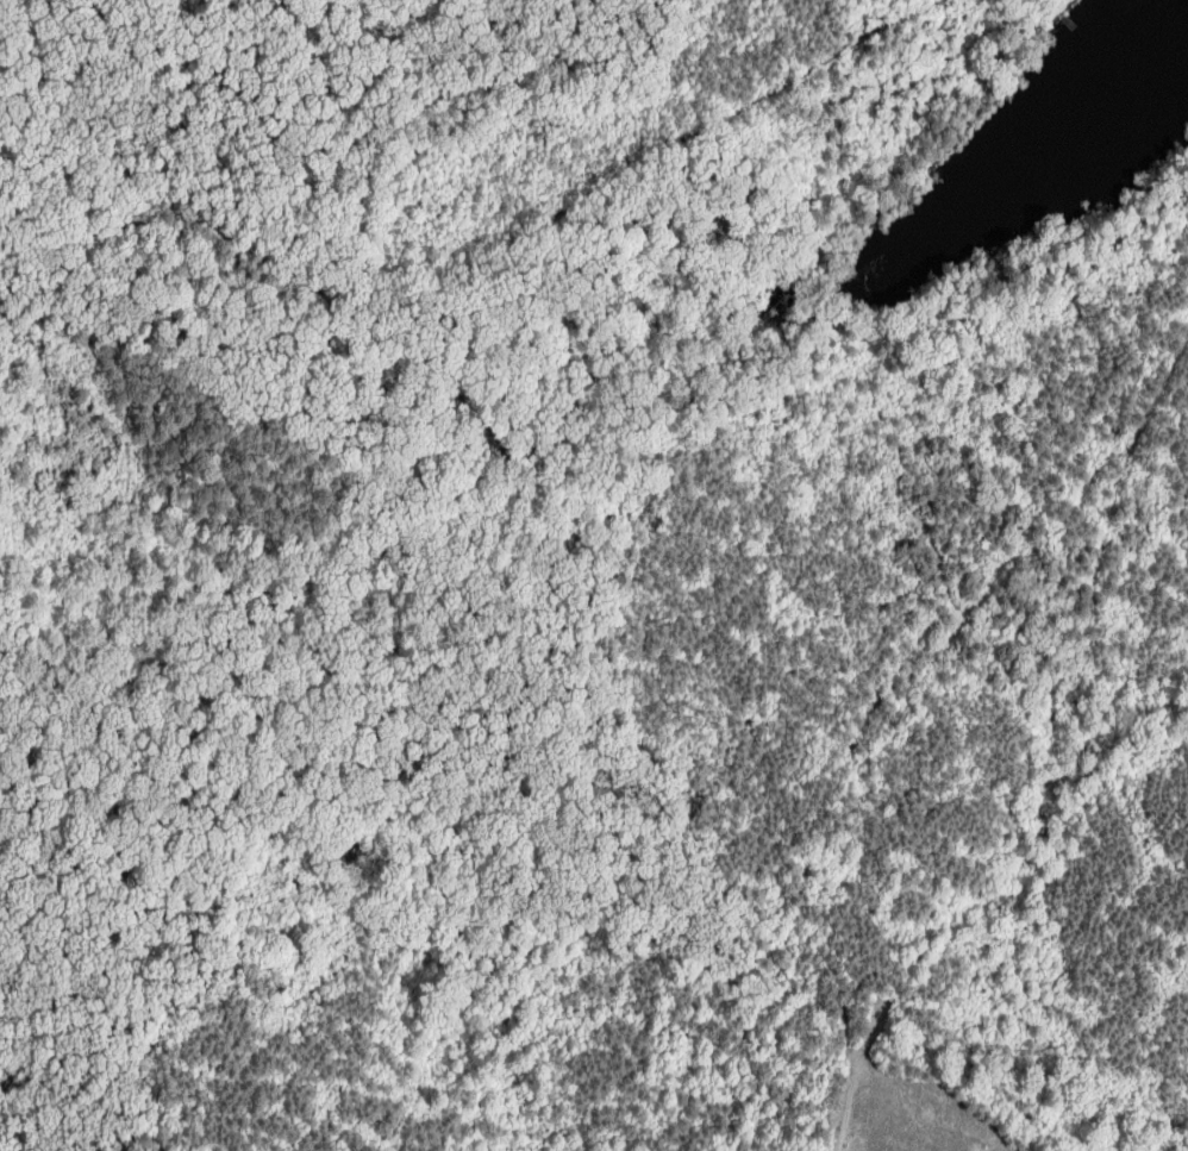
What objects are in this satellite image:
road: (406, 199)

